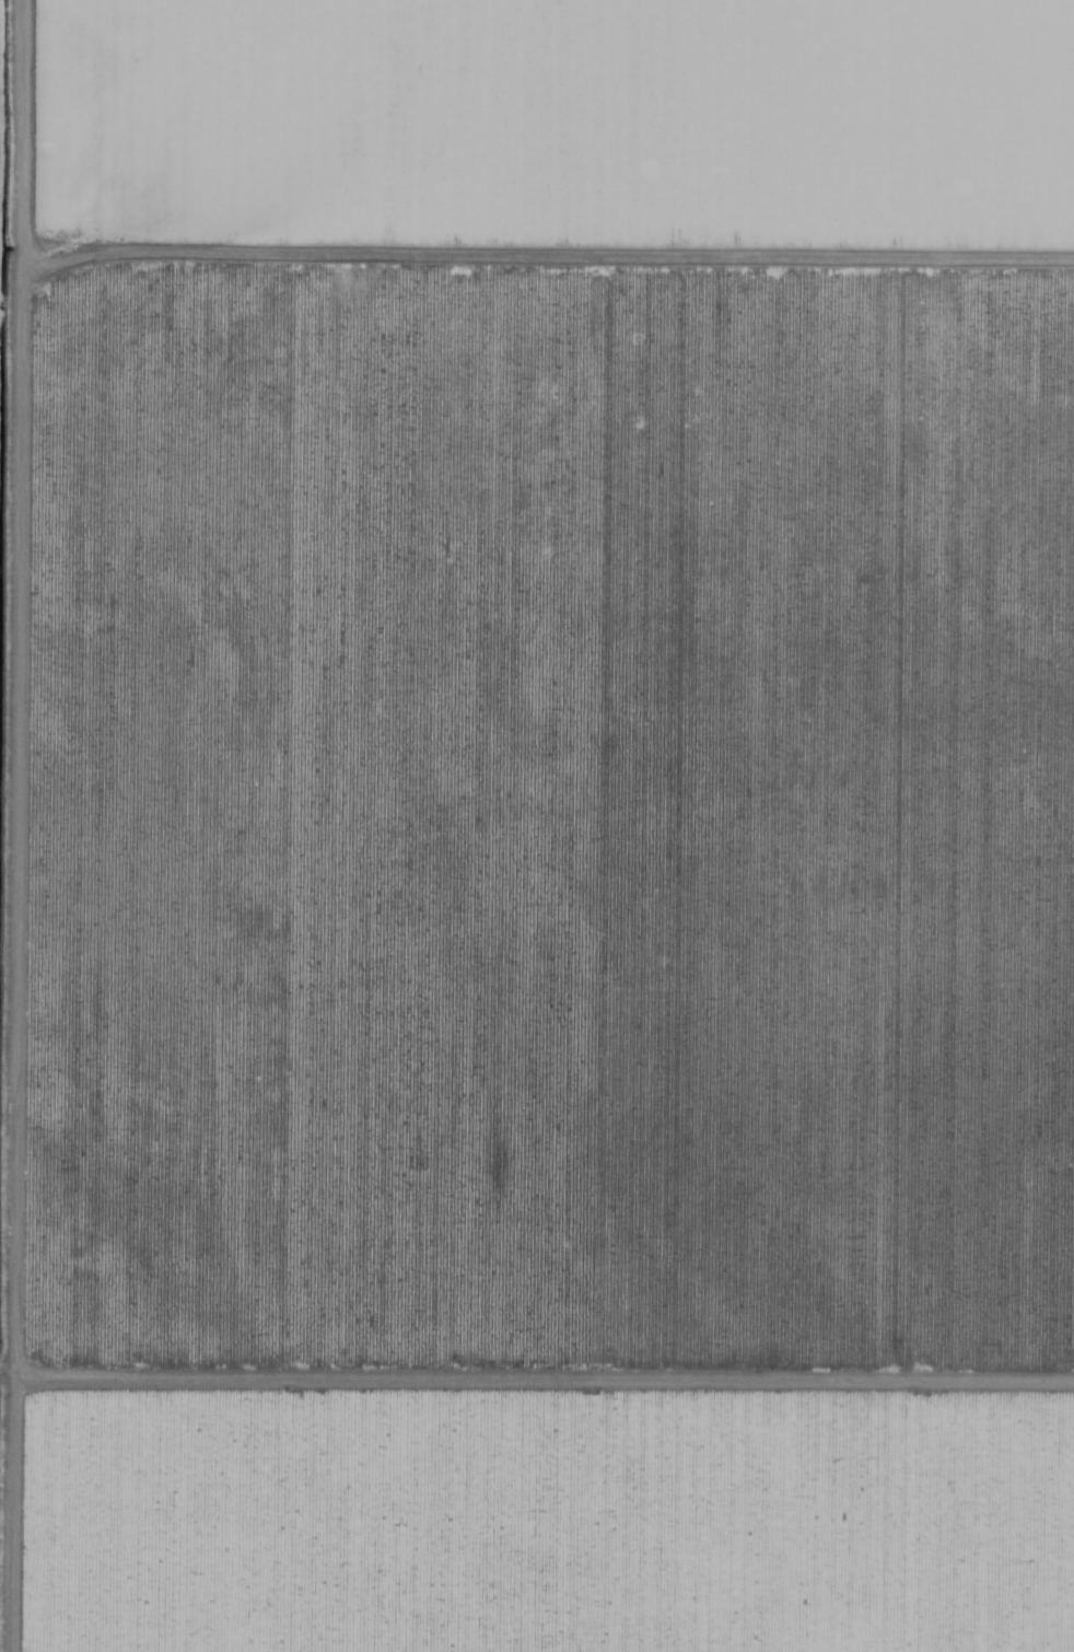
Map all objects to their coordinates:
crop: (573, 688)
road: (10, 1257)
road: (546, 1366)
crop: (582, 1517)

